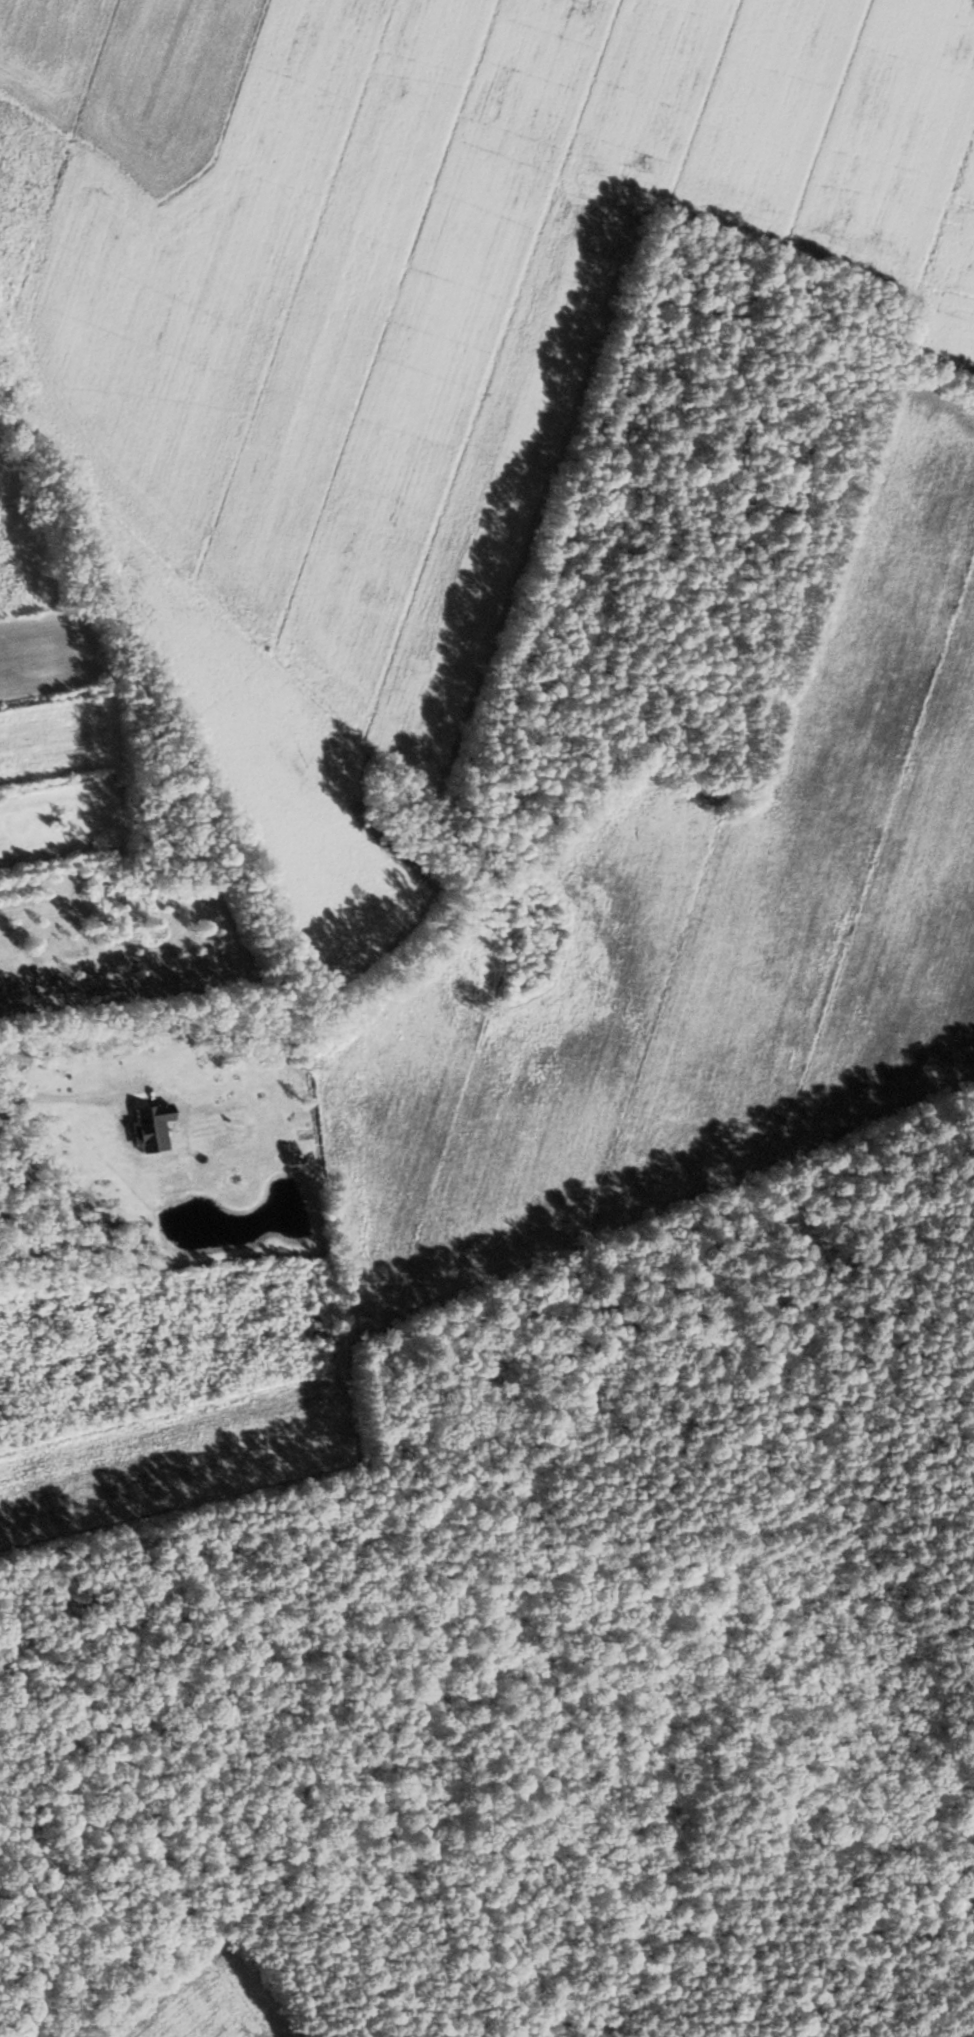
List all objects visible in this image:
road: (56, 1097)

